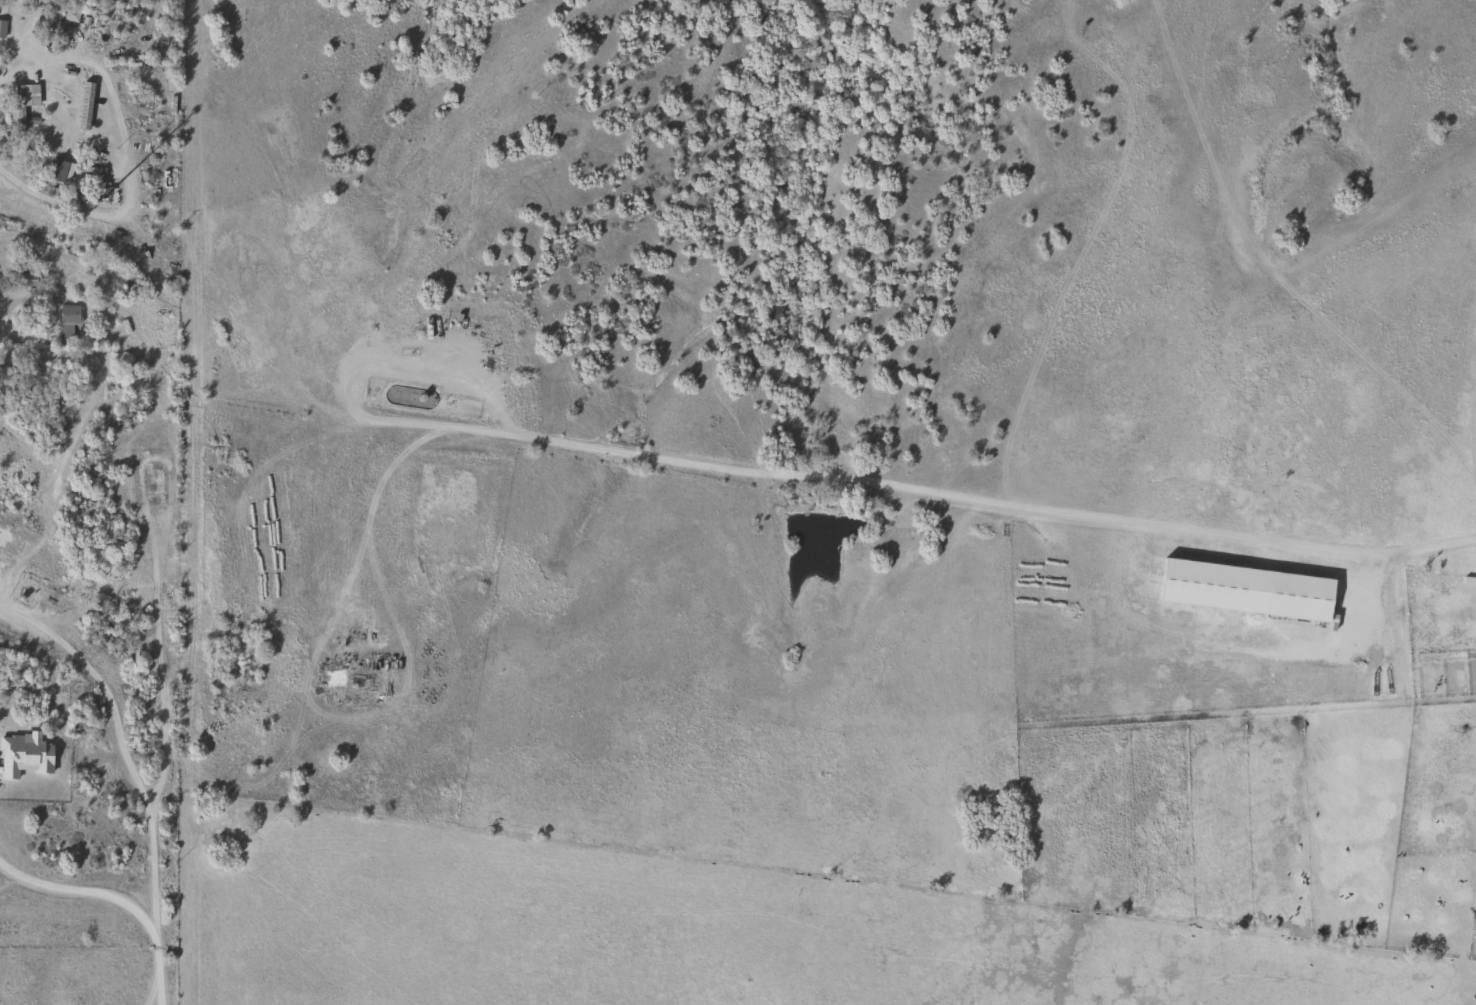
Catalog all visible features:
building: (69, 14)
building: (1, 27)
building: (19, 103)
road: (125, 155)
building: (54, 170)
road: (42, 233)
building: (66, 322)
road: (354, 361)
road: (982, 503)
building: (1296, 606)
road: (129, 773)
road: (82, 890)
road: (155, 970)

